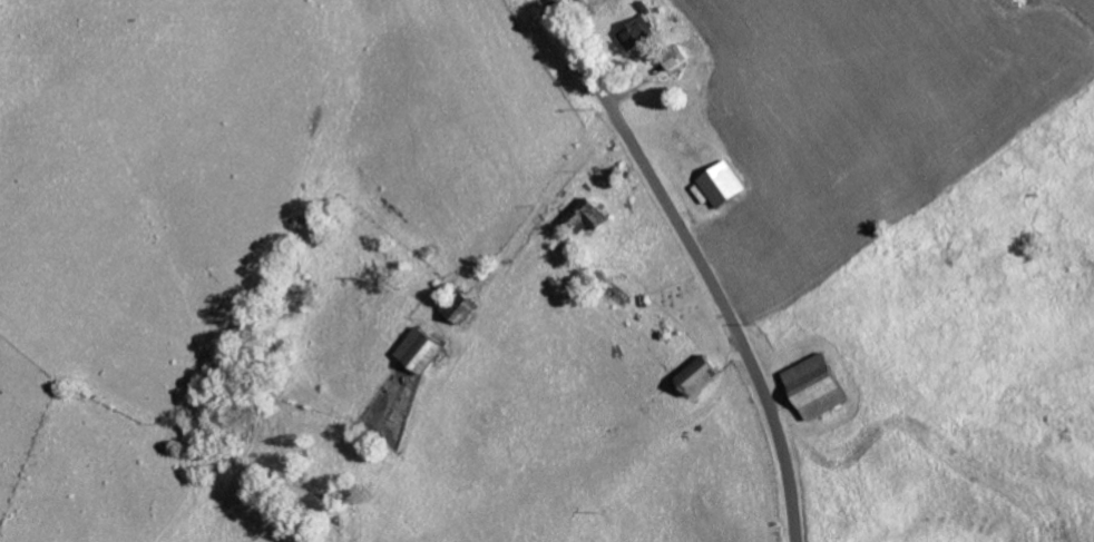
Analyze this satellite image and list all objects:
building: (635, 35)
building: (724, 184)
building: (594, 213)
road: (700, 258)
building: (423, 348)
building: (701, 374)
building: (820, 385)

